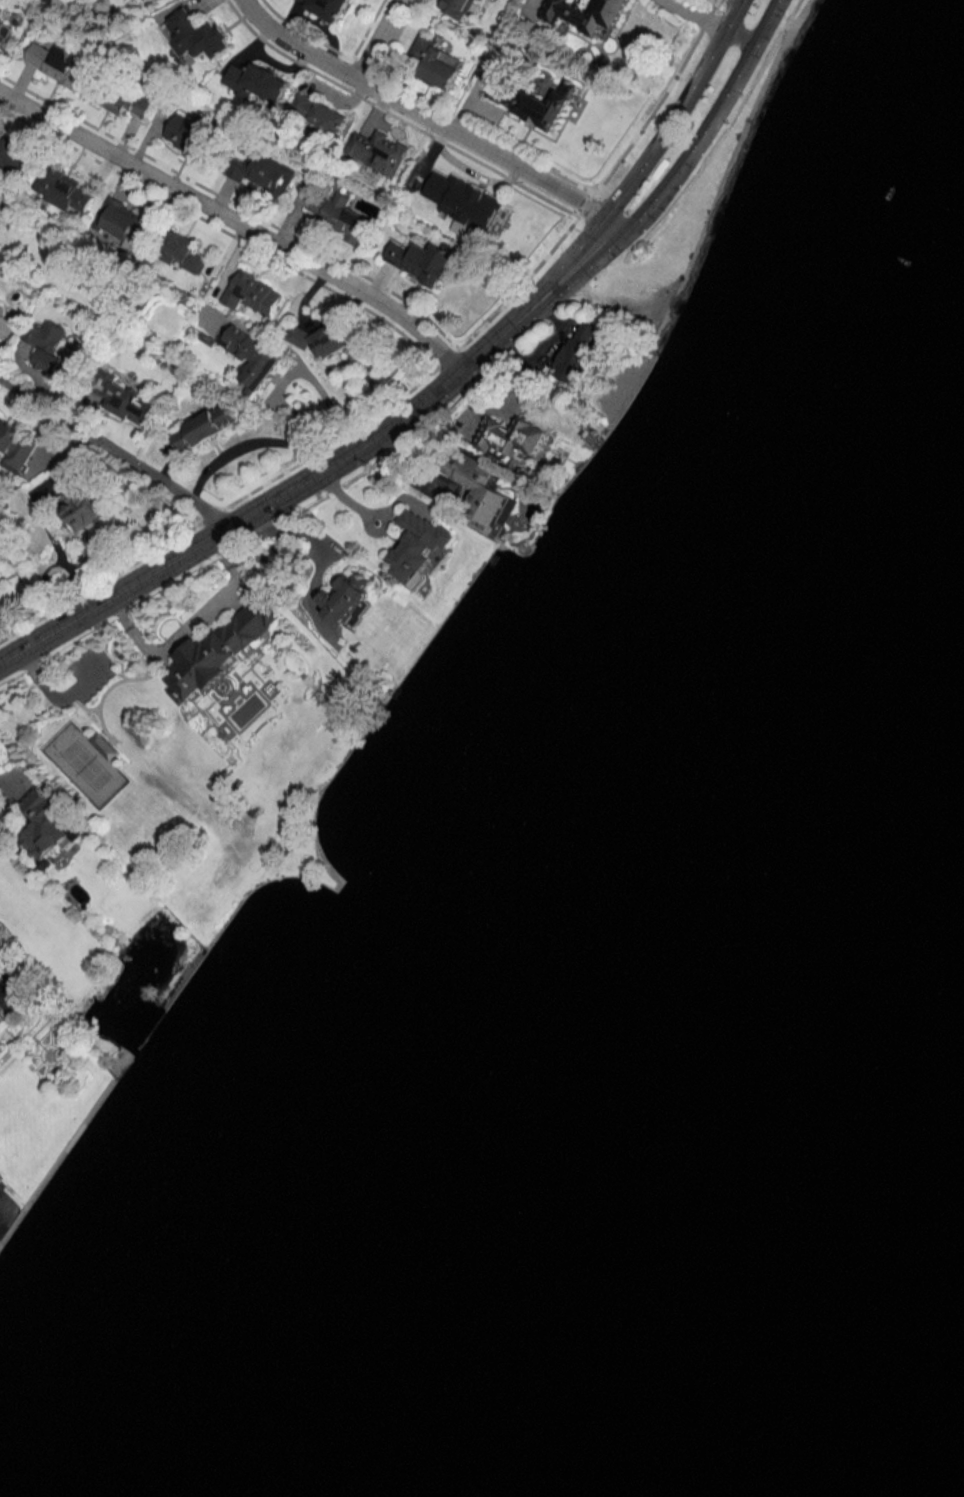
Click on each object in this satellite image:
building: (326, 7)
building: (458, 7)
building: (585, 14)
road: (694, 16)
building: (4, 28)
road: (741, 33)
building: (196, 35)
road: (374, 40)
building: (437, 64)
building: (61, 66)
building: (256, 81)
building: (123, 100)
building: (532, 102)
building: (319, 113)
road: (675, 113)
road: (425, 118)
road: (710, 122)
building: (187, 131)
building: (379, 151)
building: (11, 154)
building: (264, 172)
building: (63, 189)
building: (462, 202)
building: (337, 213)
building: (123, 221)
road: (234, 222)
building: (185, 253)
building: (423, 261)
building: (252, 293)
building: (320, 339)
building: (46, 344)
road: (546, 352)
building: (578, 352)
building: (253, 356)
building: (126, 401)
building: (206, 427)
building: (509, 438)
building: (15, 447)
road: (114, 452)
road: (326, 463)
road: (342, 497)
building: (82, 508)
road: (312, 538)
building: (416, 545)
building: (344, 598)
road: (185, 624)
building: (221, 649)
road: (9, 775)
building: (46, 826)
building: (4, 1019)
building: (1, 1043)

